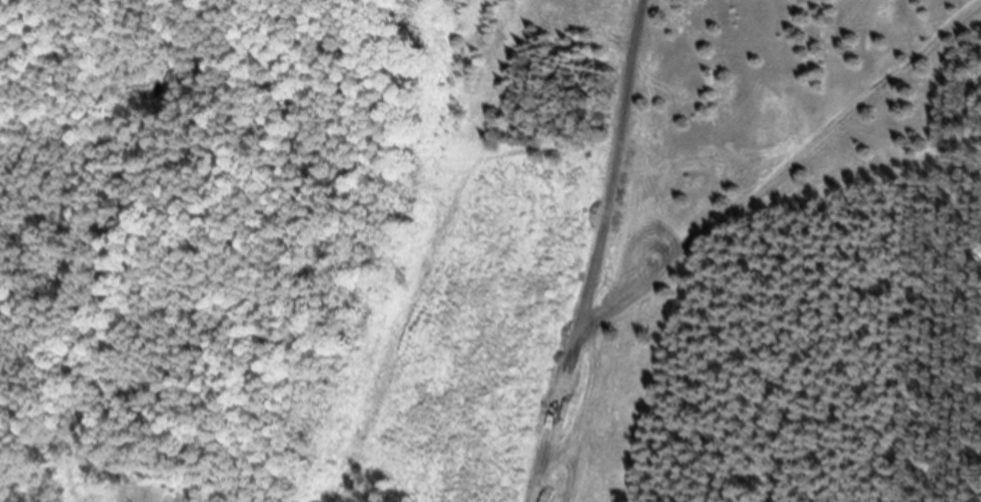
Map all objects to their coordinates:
road: (594, 252)

